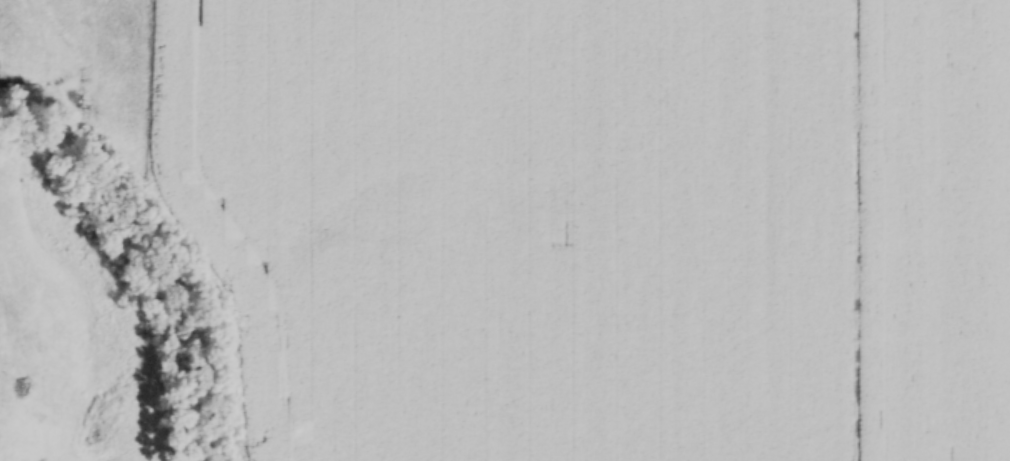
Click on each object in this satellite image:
building: (10, 392)

